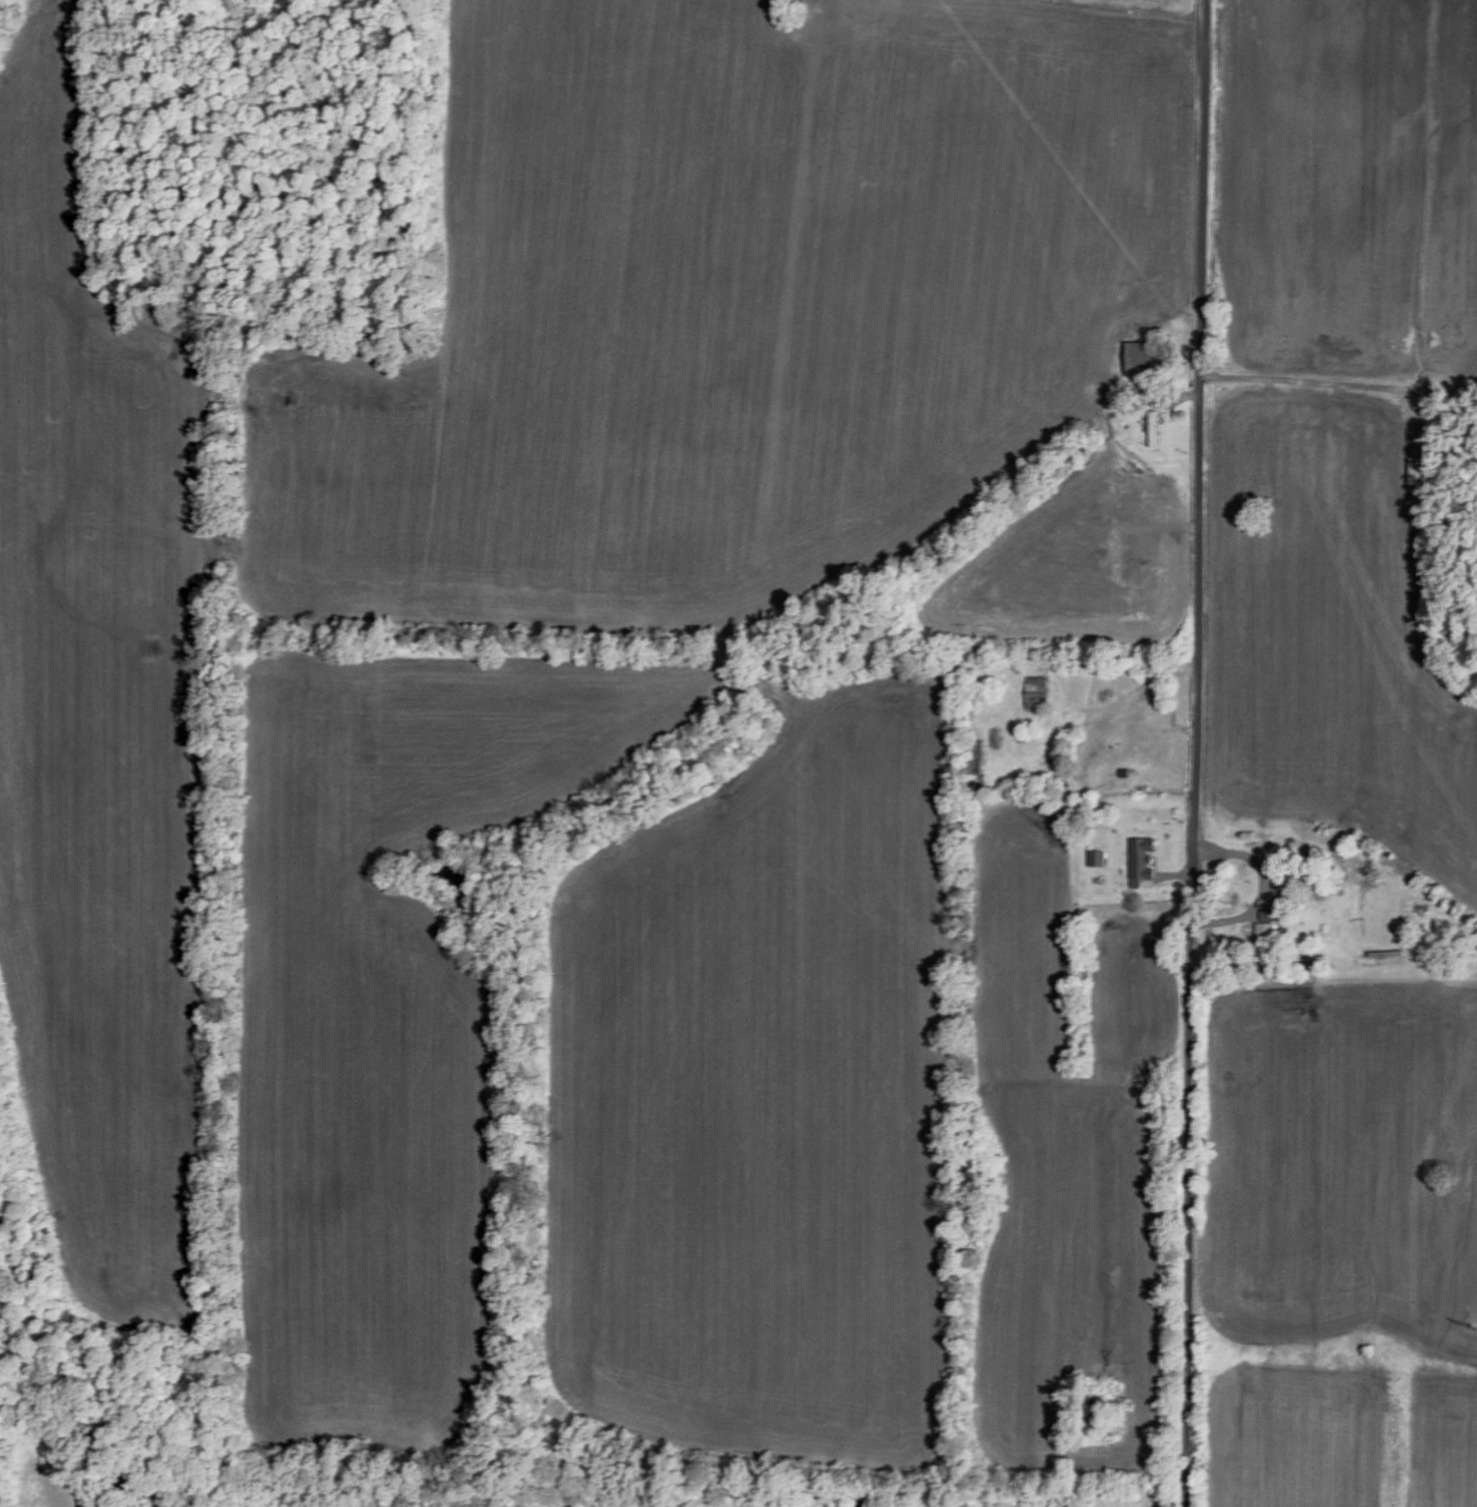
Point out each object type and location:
road: (1338, 238)
building: (1141, 351)
building: (1422, 472)
building: (1037, 693)
road: (1197, 753)
building: (1098, 859)
building: (1141, 862)
building: (1267, 926)

